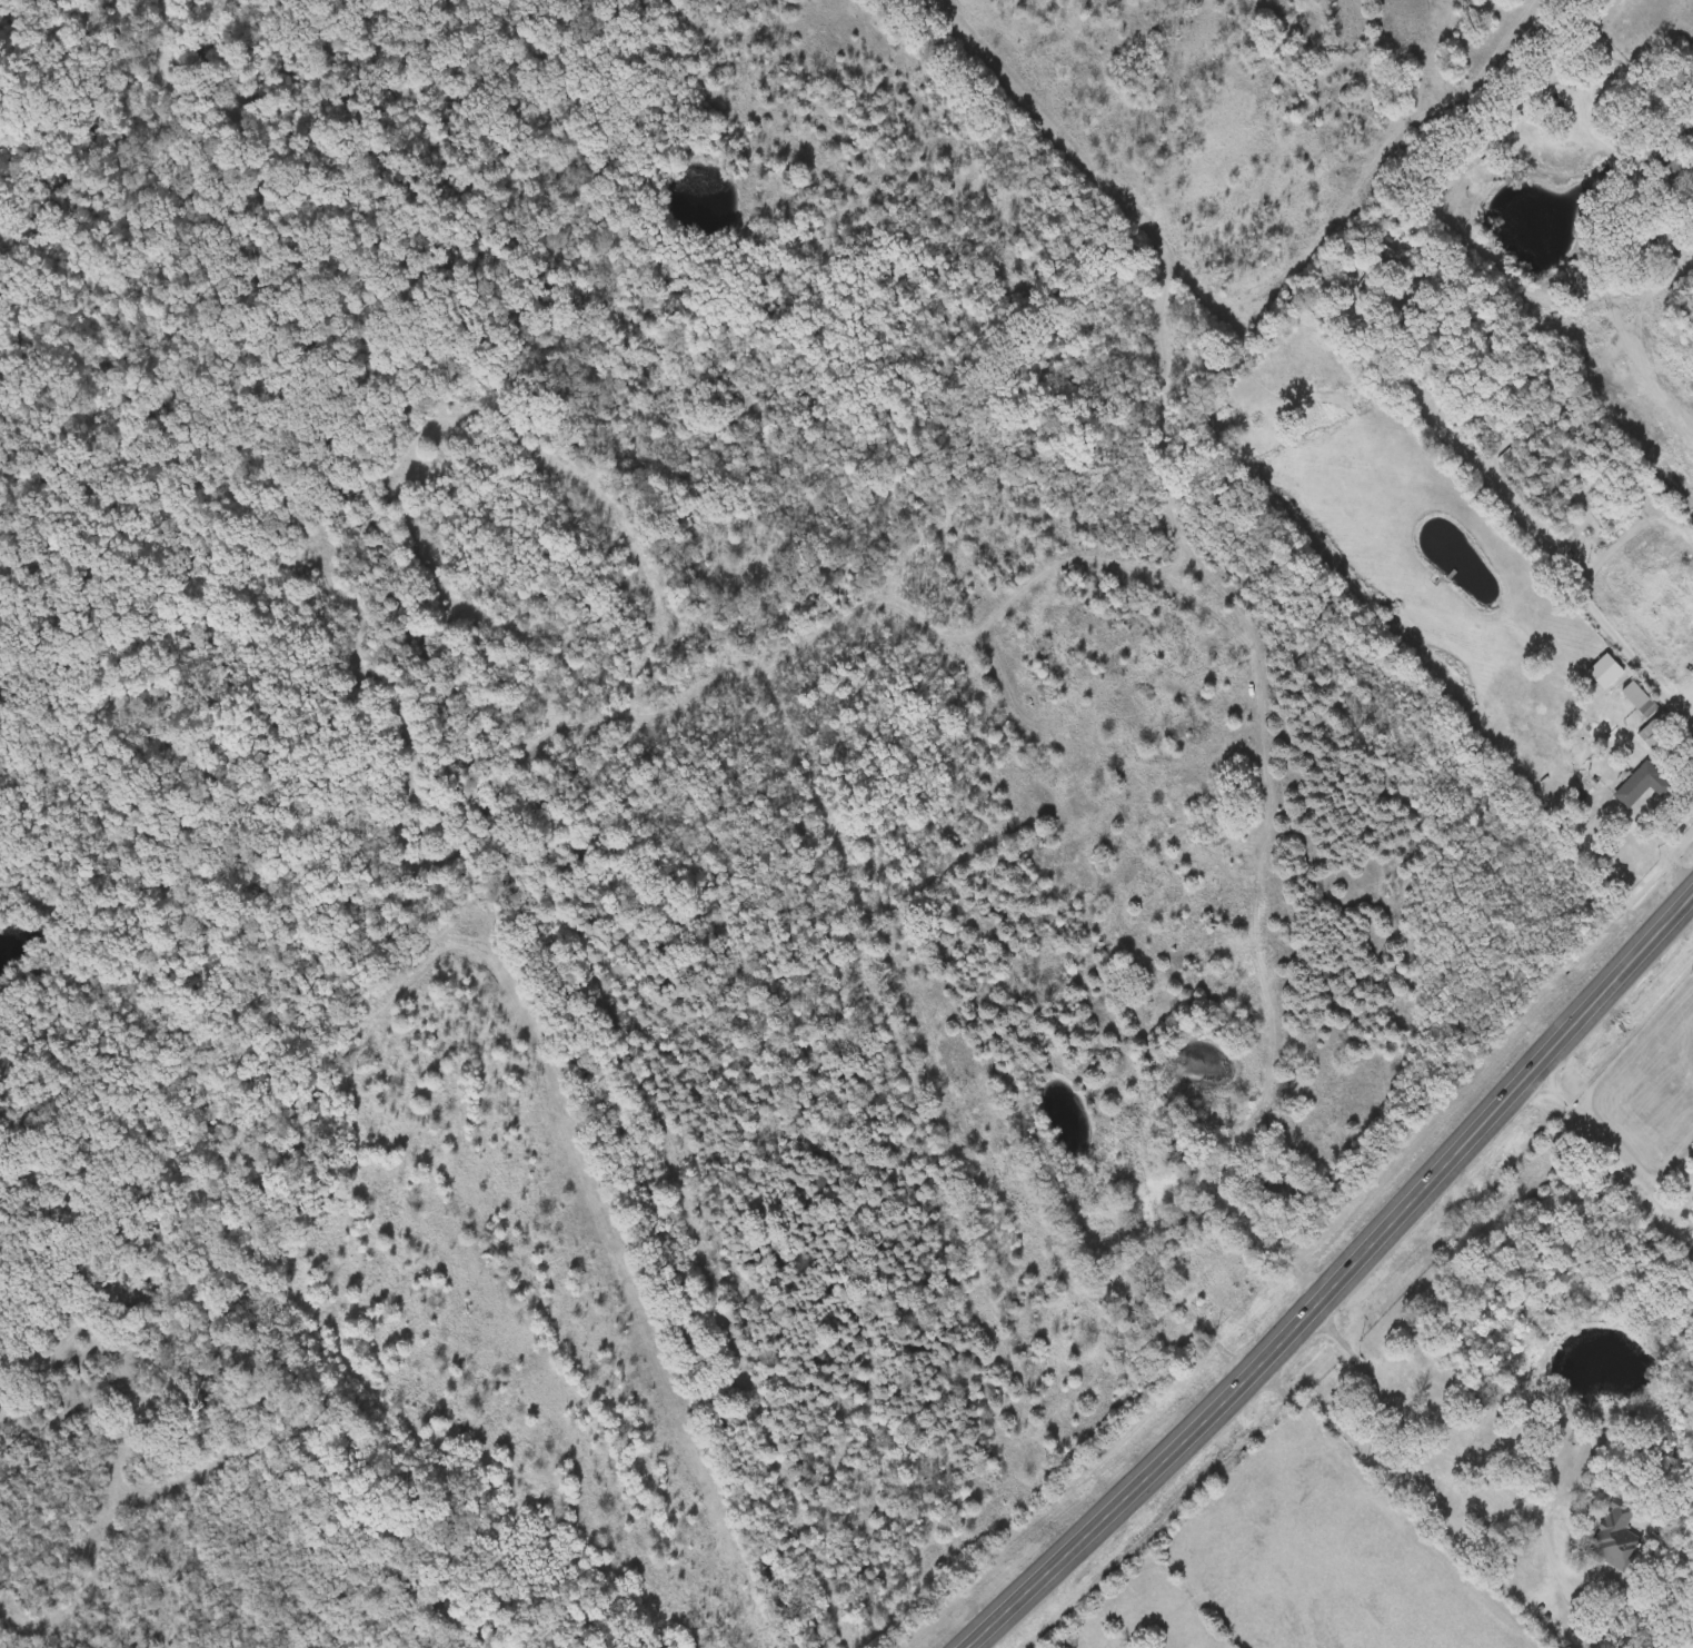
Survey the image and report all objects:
building: (1674, 171)
building: (1374, 269)
building: (1503, 455)
road: (1520, 526)
building: (1649, 542)
building: (1640, 698)
building: (1657, 731)
building: (1642, 784)
road: (1659, 837)
road: (1613, 1156)
road: (1337, 1279)
road: (1468, 1463)
road: (1396, 1507)
building: (1614, 1525)
road: (1163, 1580)

